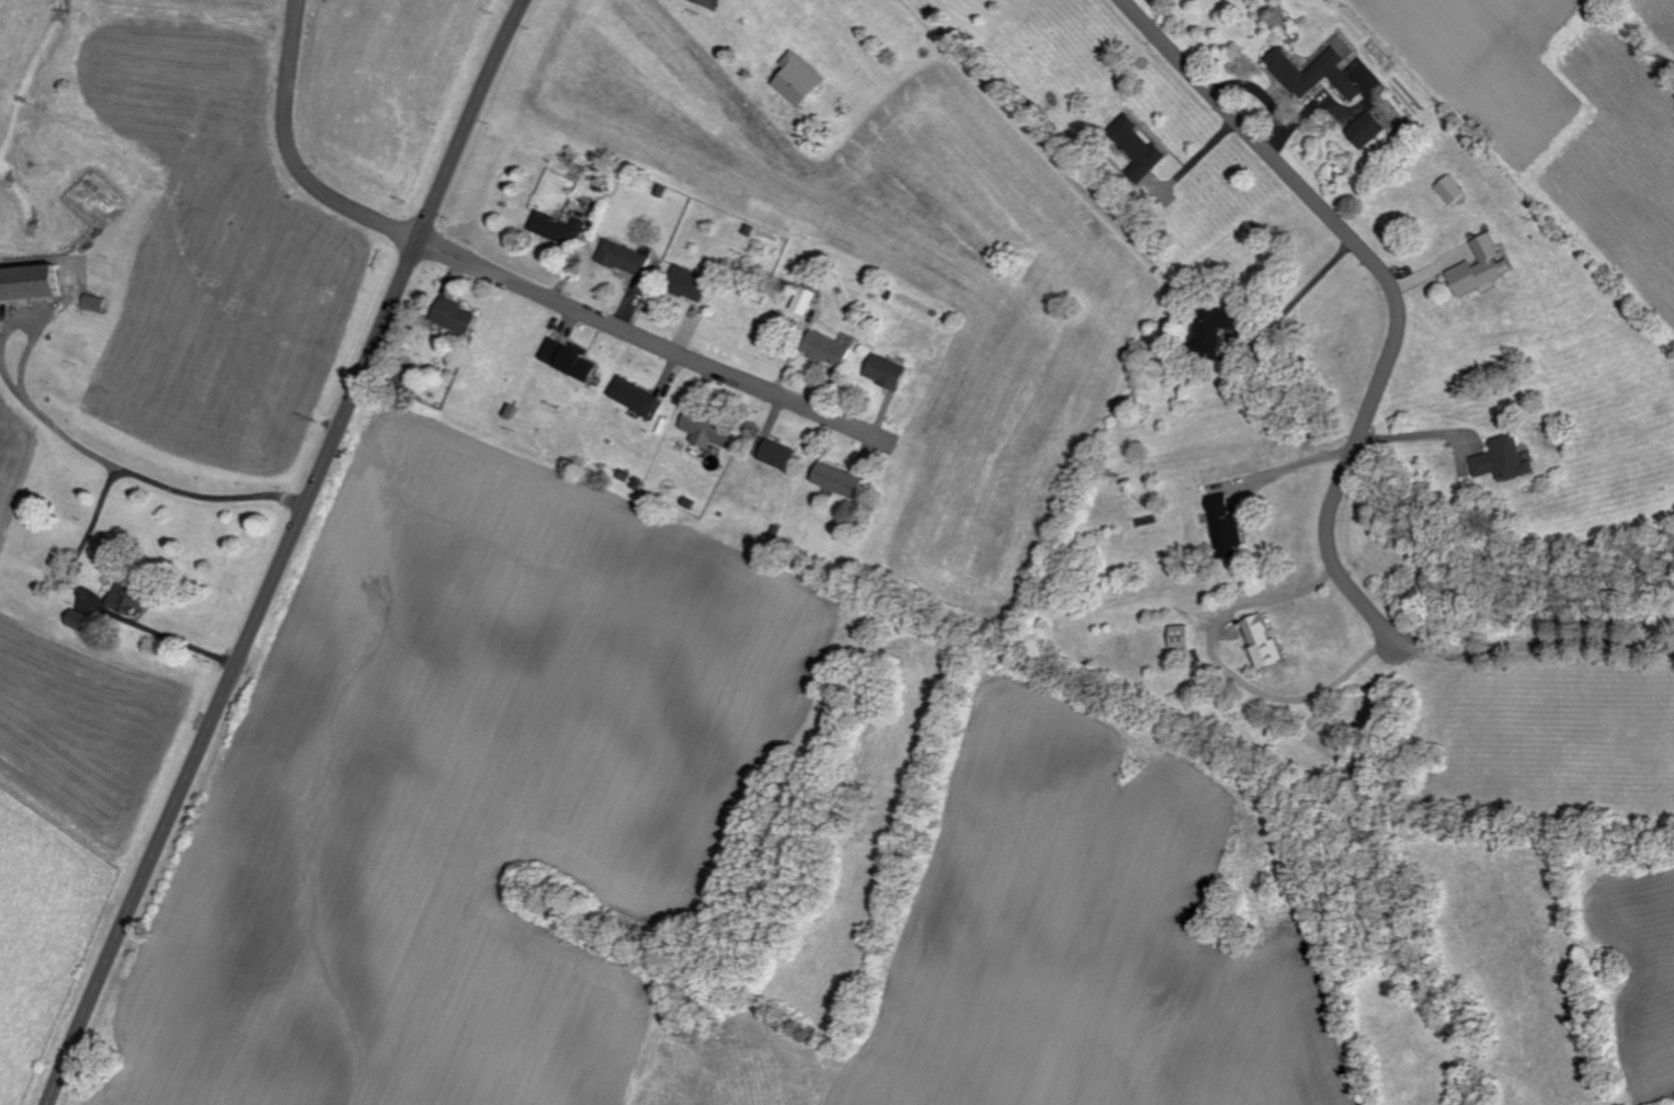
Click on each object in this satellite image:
building: (1316, 70)
building: (793, 79)
building: (1365, 129)
building: (1135, 148)
road: (289, 156)
building: (1449, 189)
building: (556, 228)
building: (620, 258)
building: (1447, 262)
building: (1479, 267)
building: (30, 284)
building: (686, 284)
road: (1301, 288)
road: (1387, 293)
building: (800, 300)
building: (452, 316)
building: (1210, 332)
road: (654, 348)
building: (823, 349)
building: (567, 361)
building: (884, 372)
building: (634, 397)
road: (1412, 431)
building: (704, 432)
road: (70, 437)
building: (775, 454)
building: (1501, 459)
road: (1291, 464)
building: (1221, 525)
road: (284, 551)
building: (129, 596)
building: (80, 618)
building: (1263, 640)
road: (1537, 645)
road: (1227, 670)

